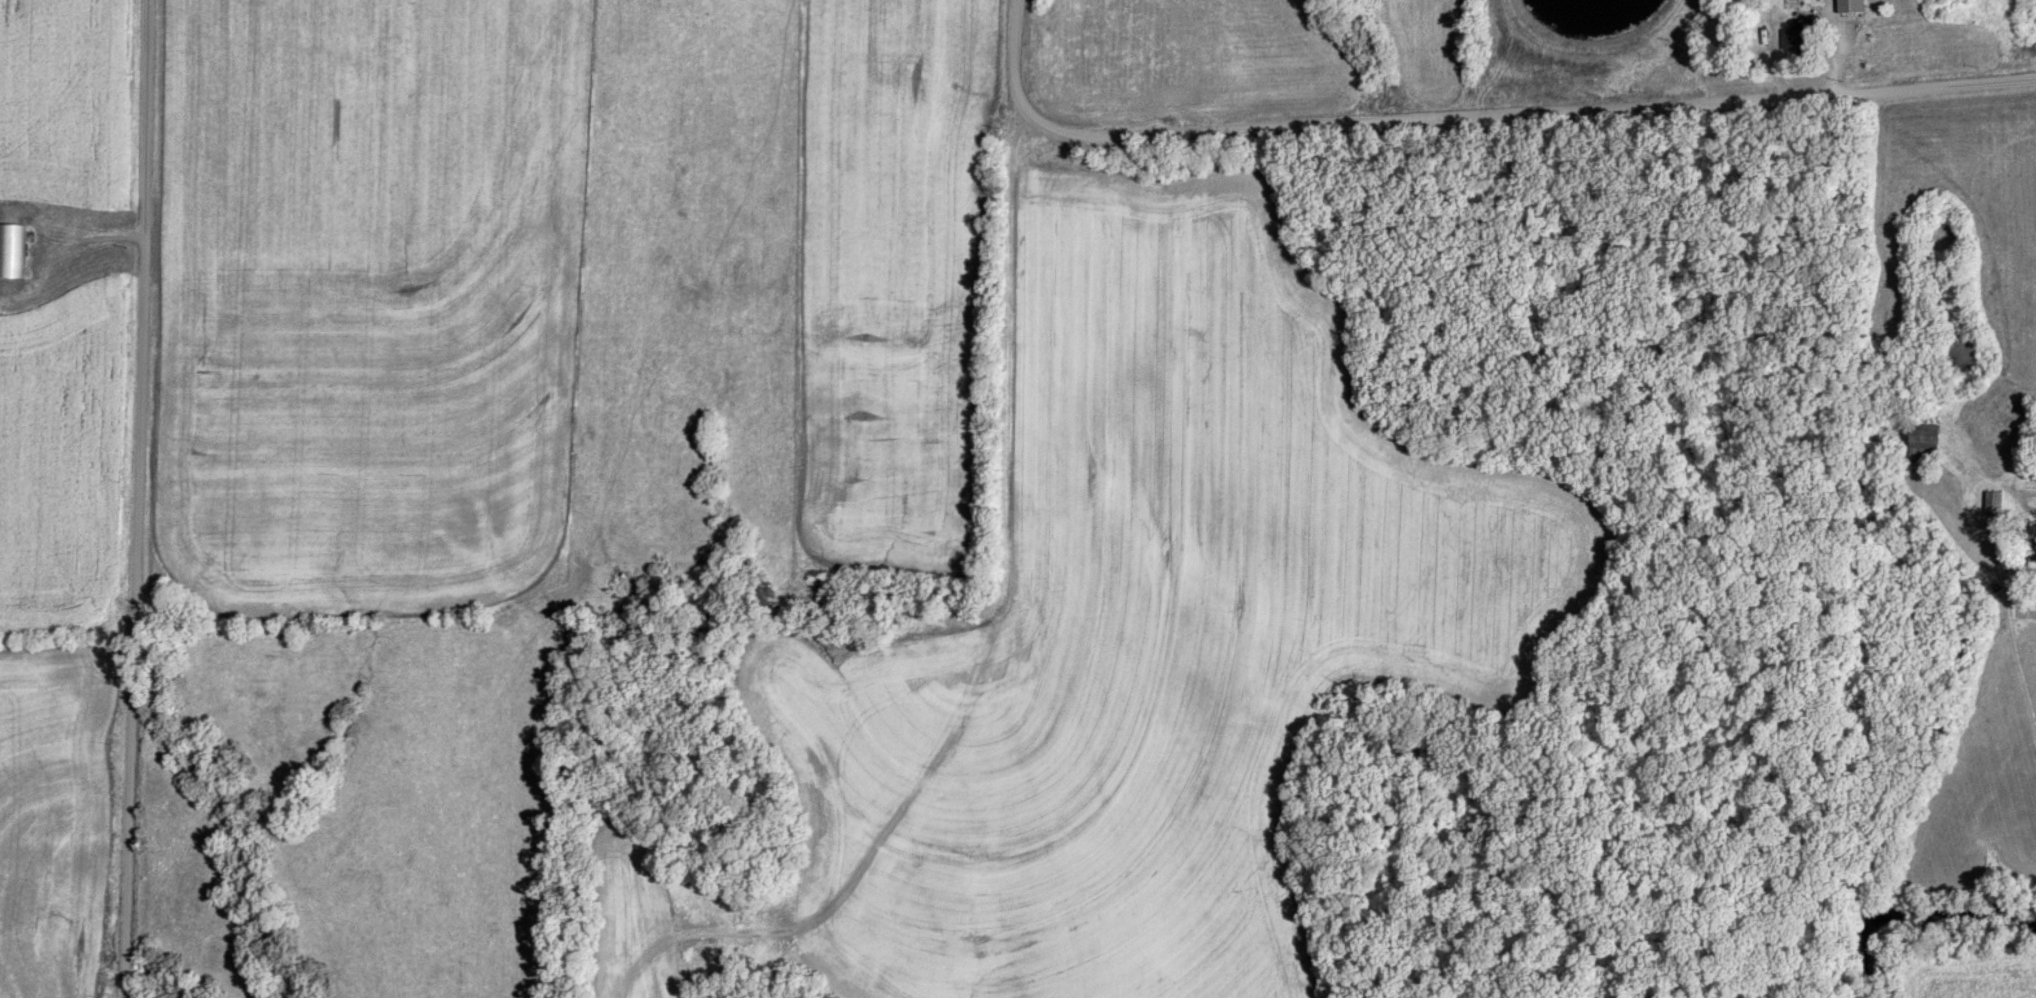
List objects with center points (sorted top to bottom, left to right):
building: (1851, 6)
building: (1797, 35)
road: (1470, 114)
building: (5, 246)
building: (1926, 437)
road: (2026, 490)
road: (134, 498)
building: (1994, 503)
road: (994, 524)
building: (2033, 551)

